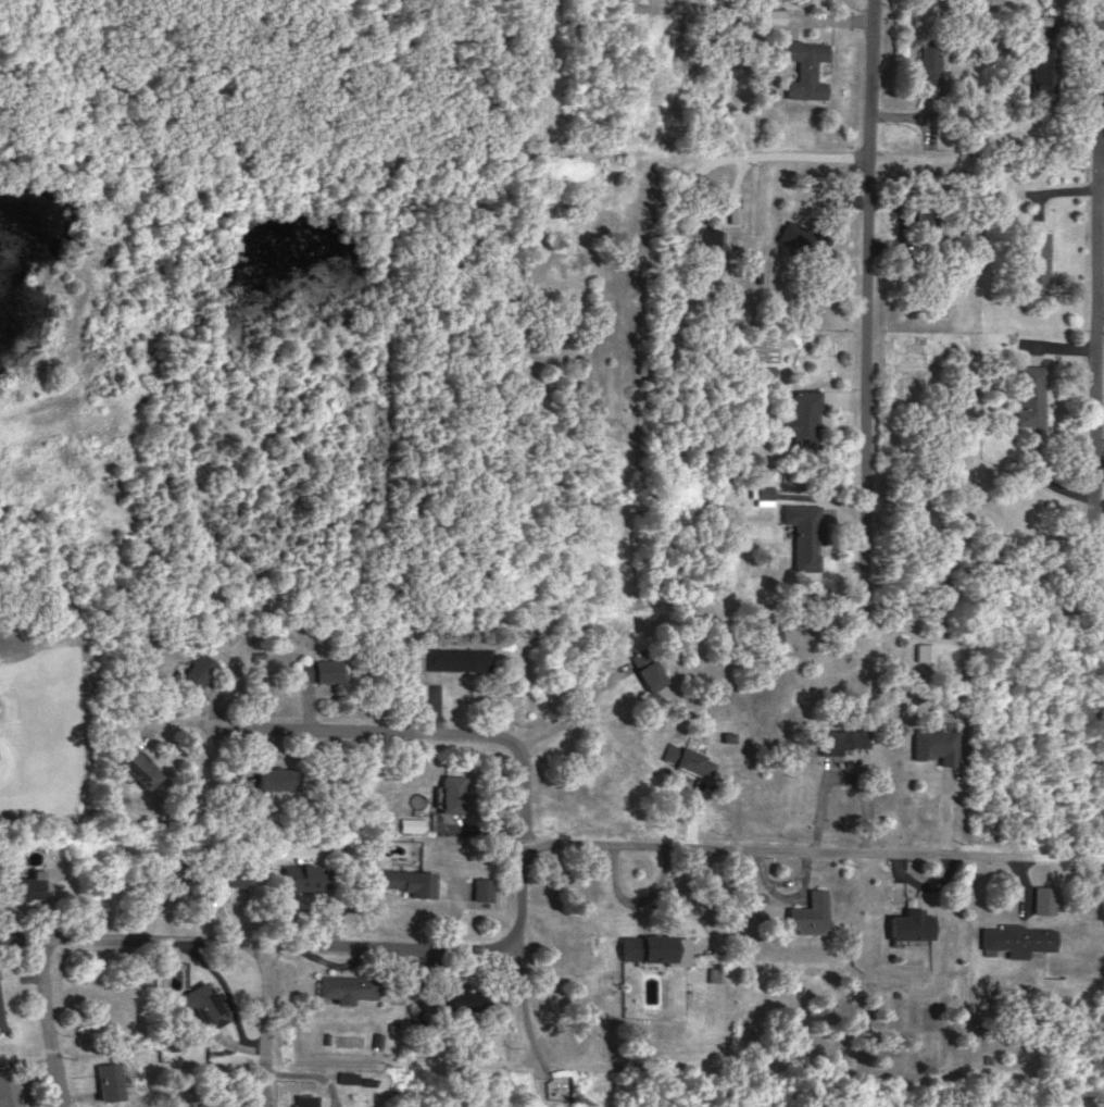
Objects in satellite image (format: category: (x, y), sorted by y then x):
building: (771, 15)
building: (1019, 33)
building: (929, 62)
building: (803, 65)
building: (1044, 71)
road: (725, 158)
road: (1101, 172)
building: (735, 213)
building: (795, 234)
building: (714, 242)
building: (819, 246)
building: (1037, 258)
road: (1093, 313)
road: (866, 370)
building: (1030, 394)
building: (804, 415)
building: (762, 489)
building: (804, 533)
building: (763, 634)
building: (923, 650)
building: (456, 658)
building: (647, 668)
building: (317, 669)
building: (195, 671)
road: (578, 706)
road: (498, 735)
building: (841, 738)
building: (933, 743)
building: (681, 757)
building: (131, 762)
building: (275, 776)
building: (451, 793)
building: (411, 823)
road: (813, 850)
building: (234, 873)
building: (300, 876)
building: (406, 880)
building: (23, 885)
building: (481, 887)
building: (756, 896)
building: (1043, 898)
building: (808, 913)
building: (911, 924)
building: (1016, 938)
road: (21, 940)
road: (279, 945)
building: (651, 947)
building: (712, 973)
building: (343, 986)
building: (460, 999)
building: (201, 1003)
building: (0, 1021)
road: (46, 1023)
road: (264, 1025)
building: (105, 1080)
building: (7, 1089)
building: (302, 1099)

